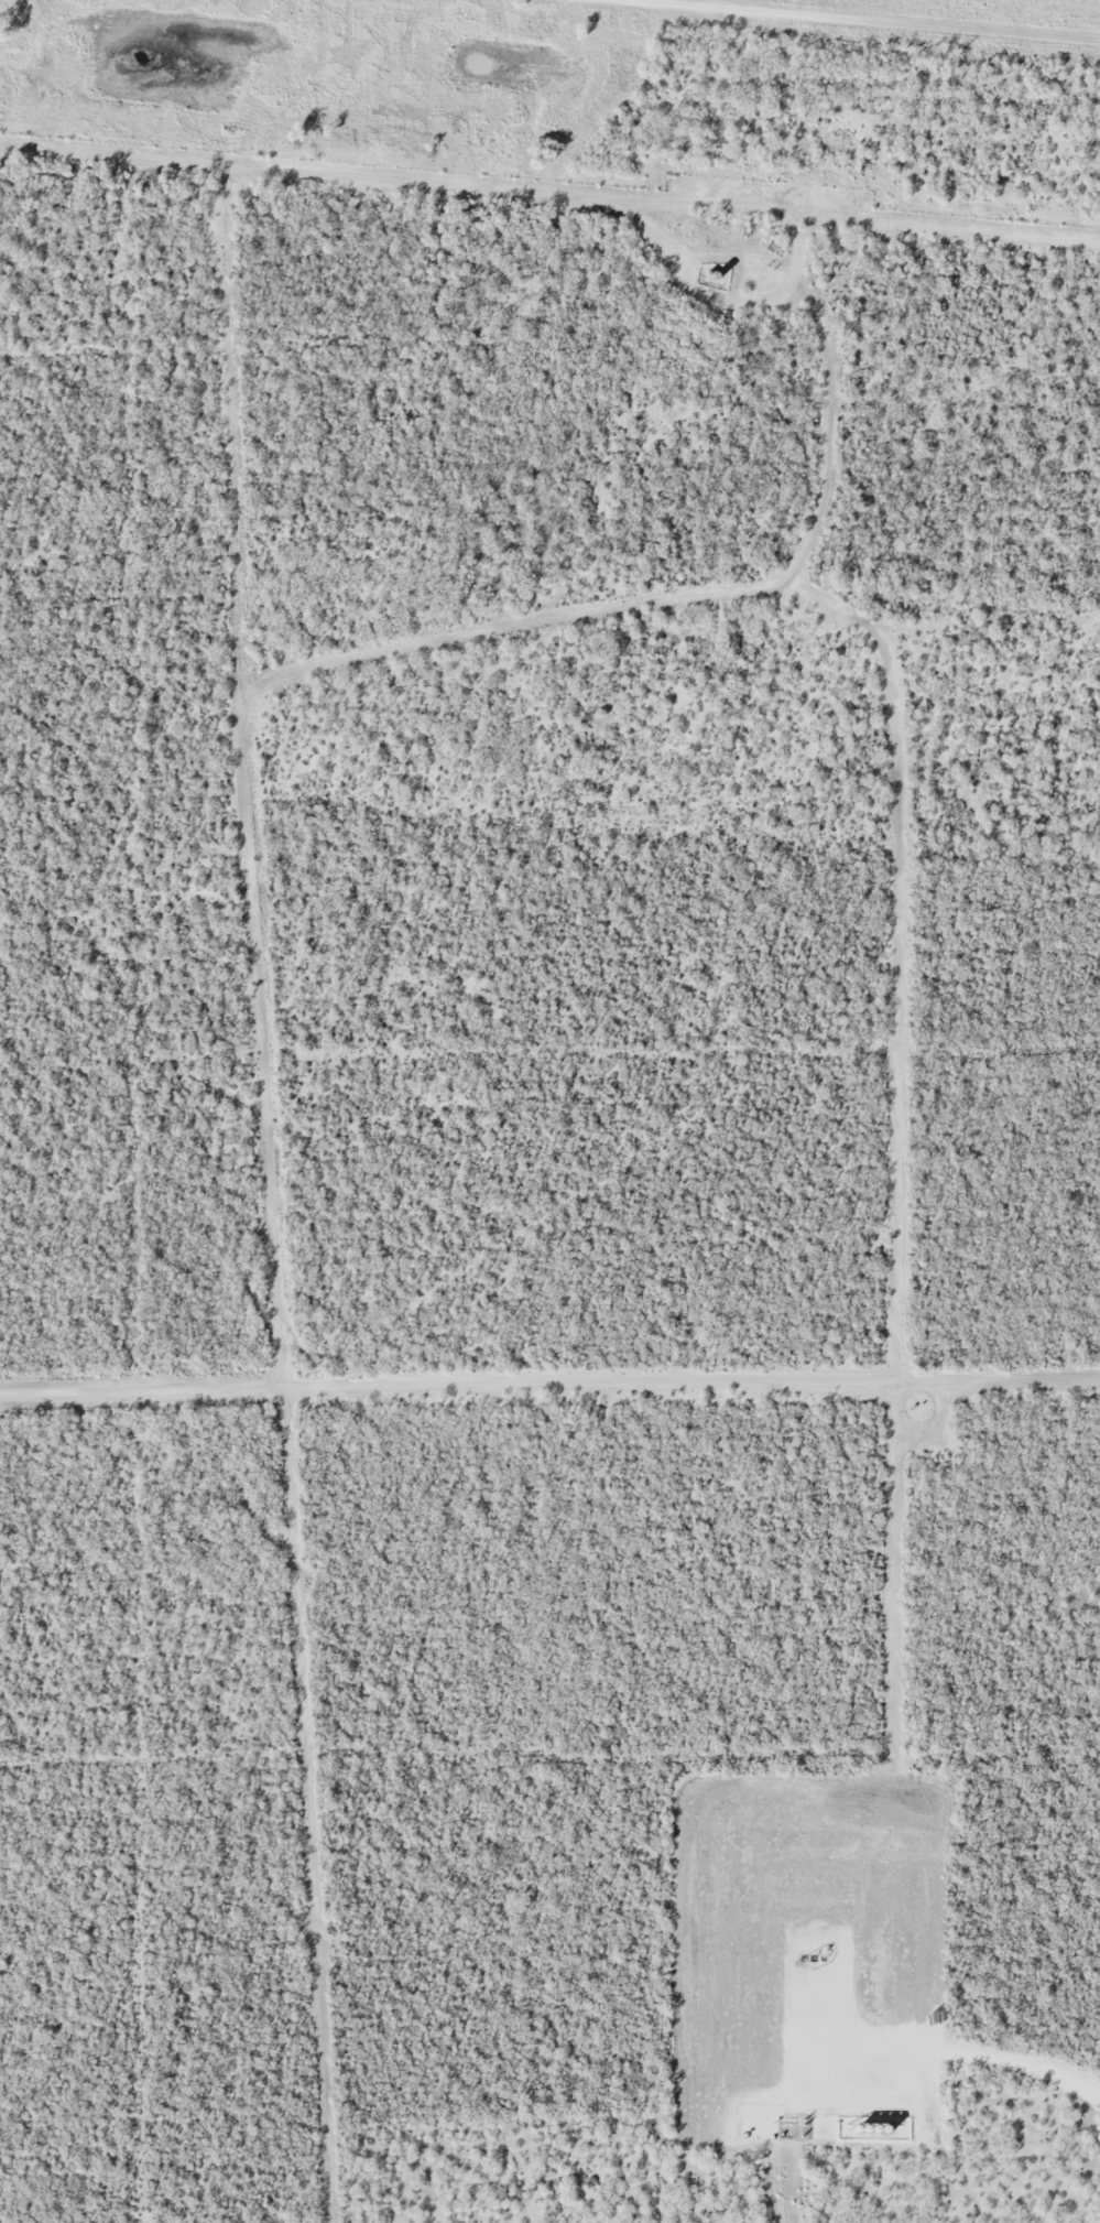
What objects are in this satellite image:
road: (879, 19)

